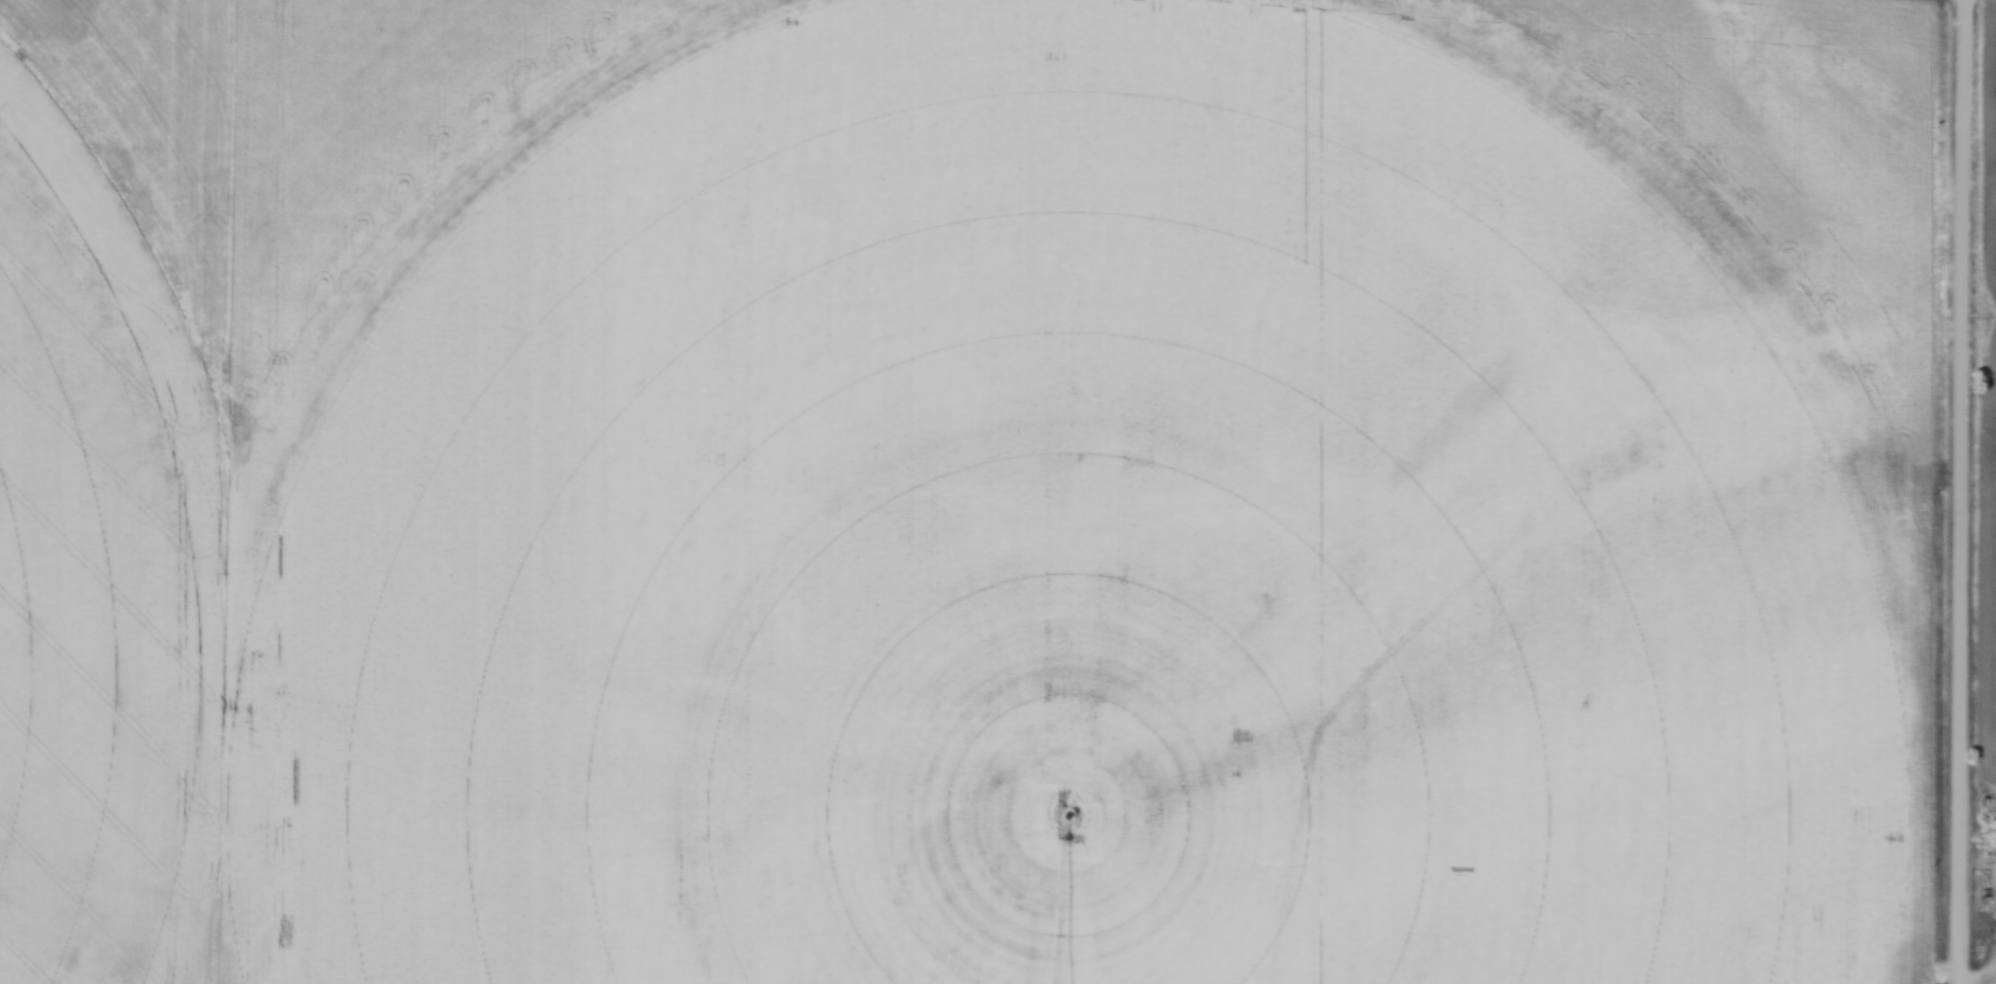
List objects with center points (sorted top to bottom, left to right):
road: (1966, 492)
road: (1984, 978)

